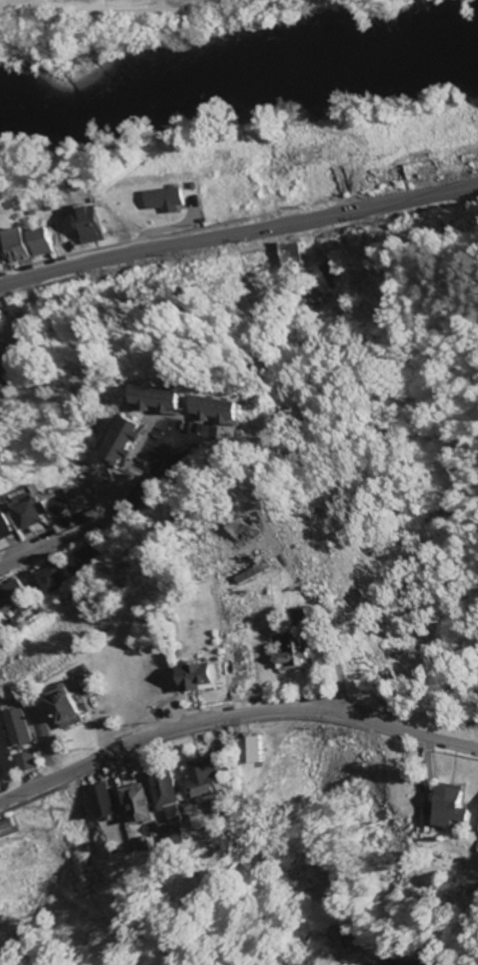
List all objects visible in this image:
road: (0, 0)
road: (39, 1)
road: (135, 12)
building: (169, 201)
building: (104, 225)
road: (238, 232)
building: (37, 246)
building: (1, 254)
building: (2, 391)
building: (169, 402)
building: (225, 410)
building: (133, 443)
building: (33, 514)
building: (6, 526)
road: (69, 539)
building: (83, 561)
building: (52, 581)
building: (14, 596)
road: (257, 634)
building: (307, 655)
building: (204, 678)
building: (75, 711)
road: (233, 717)
building: (22, 730)
building: (258, 750)
building: (27, 763)
building: (216, 775)
building: (172, 786)
building: (105, 802)
building: (145, 804)
building: (457, 808)
building: (9, 829)
building: (176, 837)
road: (275, 933)

